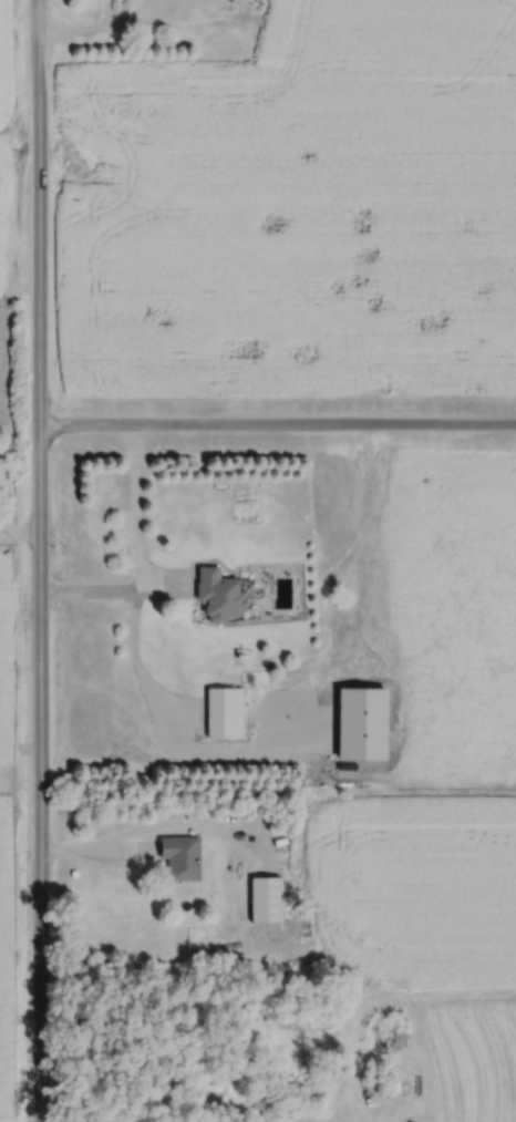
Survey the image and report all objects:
road: (278, 421)
road: (20, 528)
road: (137, 556)
road: (41, 560)
building: (220, 595)
building: (221, 702)
road: (159, 825)
building: (182, 857)
building: (266, 899)
building: (265, 1101)

